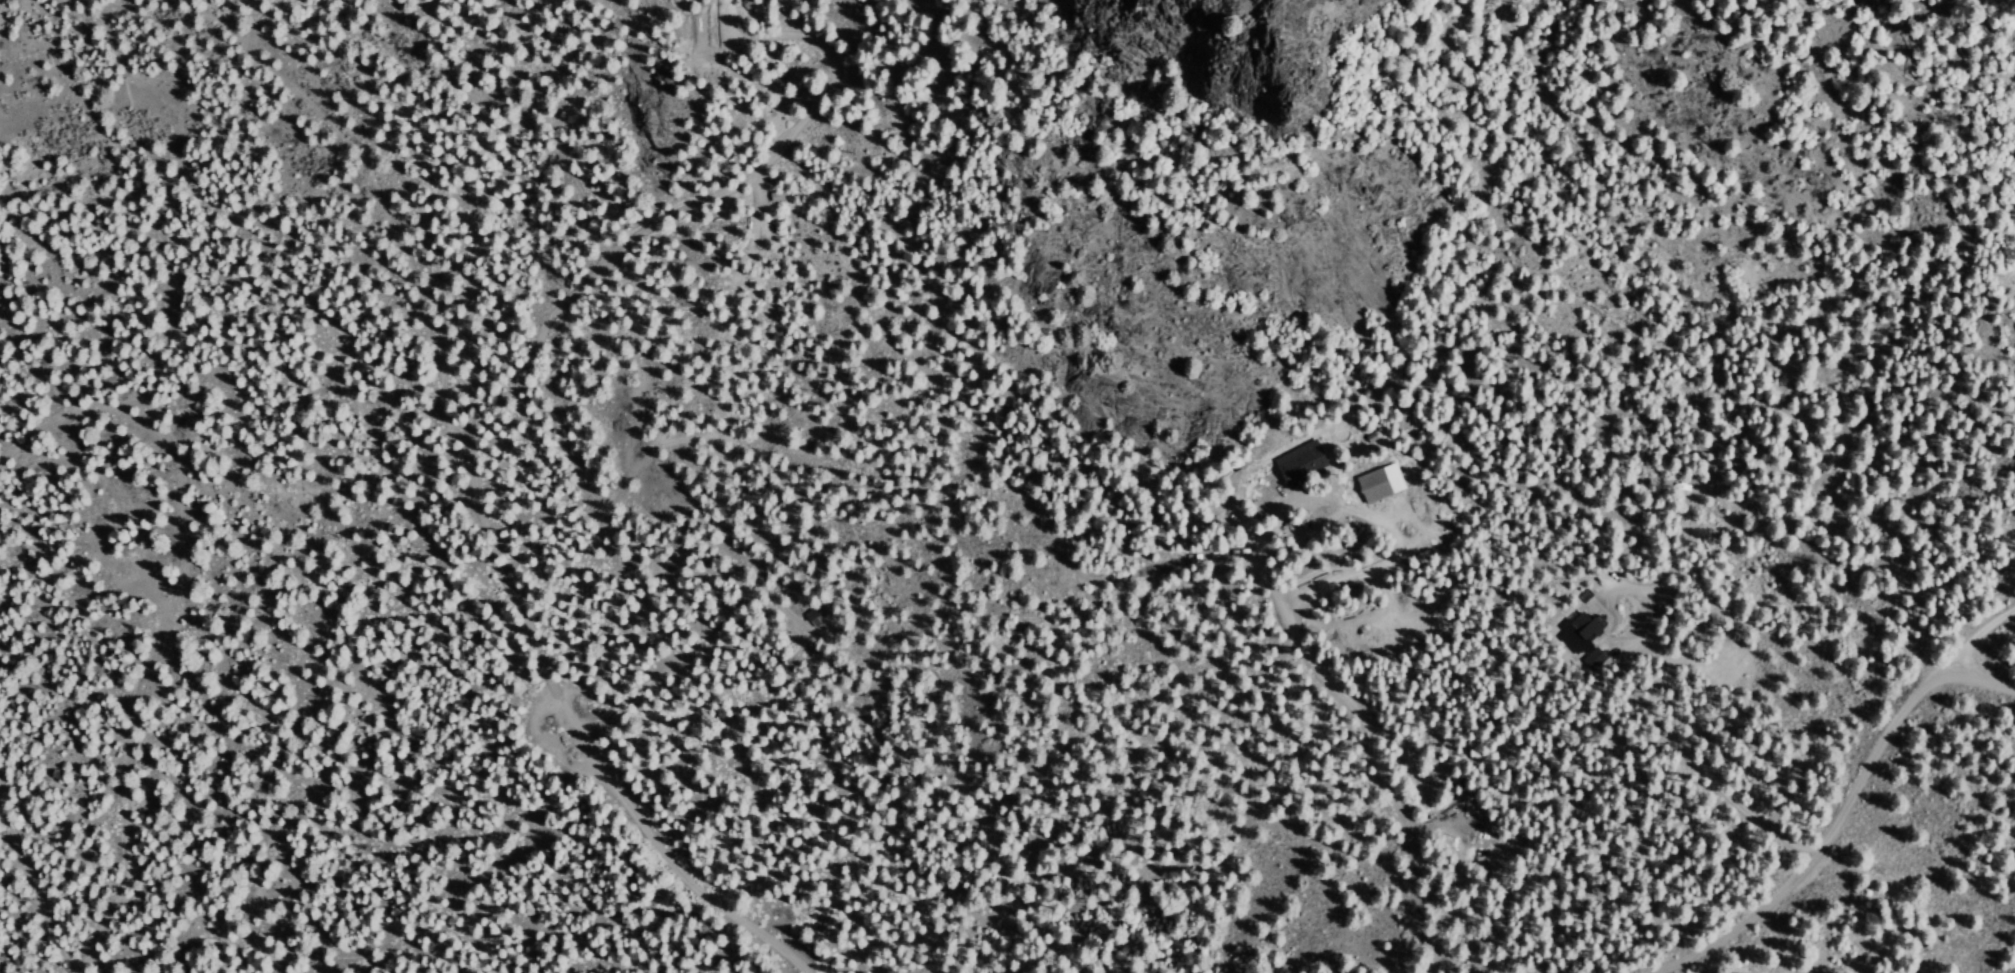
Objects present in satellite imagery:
building: (1305, 461)
building: (1383, 481)
road: (1821, 836)
crop: (1891, 859)

